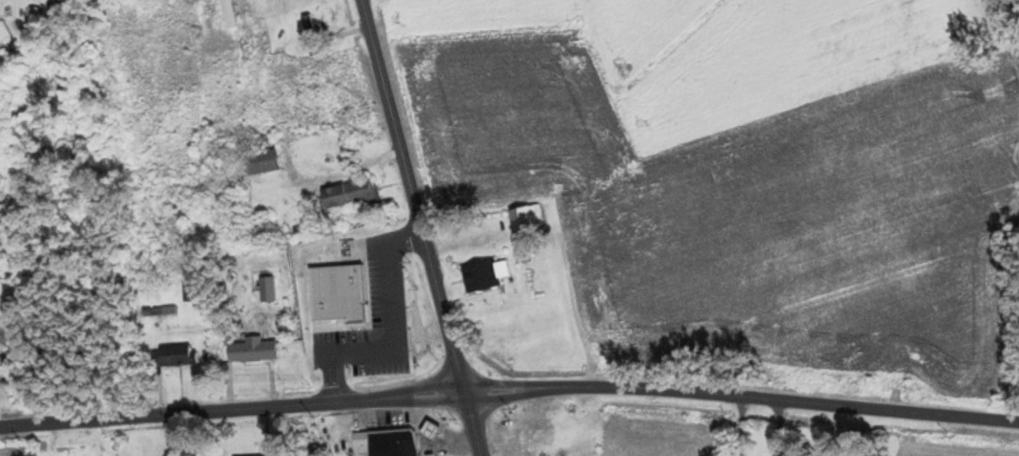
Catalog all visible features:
building: (216, 30)
road: (481, 44)
road: (255, 107)
building: (256, 162)
road: (613, 181)
building: (349, 194)
building: (525, 217)
road: (423, 227)
building: (254, 231)
building: (483, 273)
building: (187, 290)
building: (251, 349)
building: (172, 354)
road: (0, 379)
road: (742, 394)
road: (233, 408)
road: (172, 434)
building: (391, 442)
building: (250, 455)

